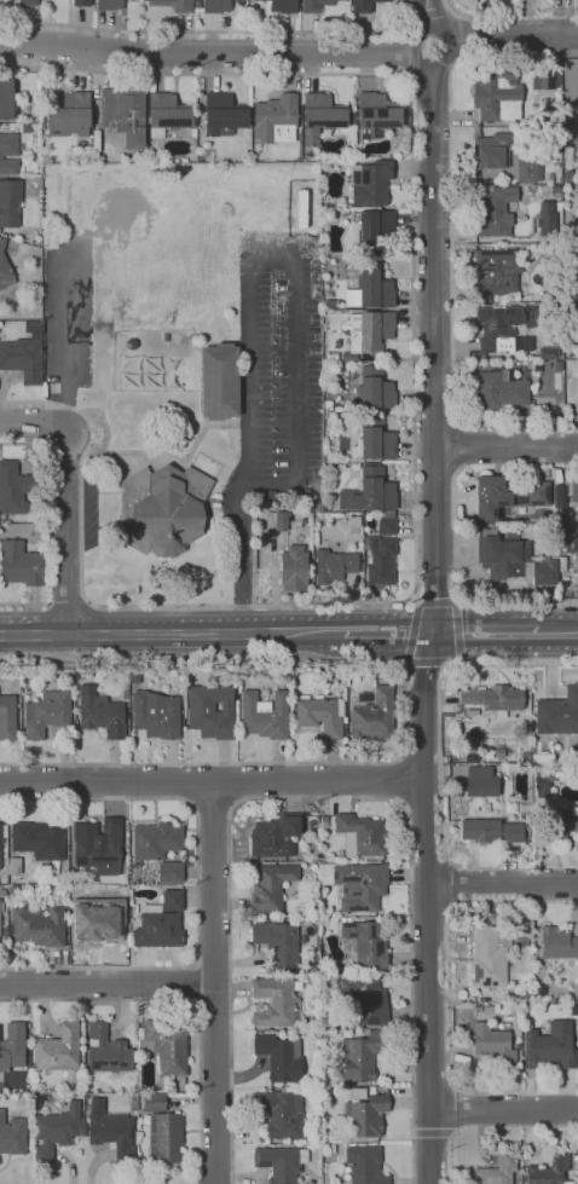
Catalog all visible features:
building: (28, 2)
building: (81, 2)
building: (109, 5)
building: (174, 5)
building: (197, 5)
building: (316, 5)
building: (216, 6)
building: (283, 6)
building: (363, 6)
road: (449, 11)
road: (430, 12)
road: (455, 12)
road: (412, 16)
road: (430, 16)
road: (464, 17)
road: (218, 31)
road: (438, 31)
road: (464, 35)
road: (511, 35)
road: (207, 52)
road: (464, 54)
building: (548, 77)
building: (498, 96)
building: (6, 98)
building: (168, 114)
building: (377, 114)
building: (70, 115)
building: (123, 115)
building: (224, 115)
building: (322, 117)
building: (276, 120)
building: (492, 151)
building: (8, 154)
building: (527, 172)
building: (568, 175)
building: (550, 178)
building: (370, 181)
building: (10, 203)
building: (495, 210)
building: (547, 216)
building: (372, 232)
road: (452, 235)
building: (5, 270)
building: (497, 275)
building: (548, 281)
road: (249, 288)
building: (370, 288)
building: (536, 306)
building: (577, 324)
building: (498, 329)
building: (369, 333)
road: (67, 335)
building: (566, 346)
building: (549, 353)
building: (24, 354)
building: (331, 356)
building: (220, 381)
building: (374, 388)
building: (499, 392)
building: (328, 405)
road: (35, 422)
road: (414, 435)
building: (375, 440)
road: (467, 447)
road: (507, 447)
building: (15, 489)
building: (574, 489)
building: (369, 491)
building: (507, 496)
road: (455, 506)
building: (318, 508)
building: (164, 509)
building: (571, 510)
building: (277, 521)
building: (386, 522)
road: (44, 525)
road: (65, 532)
building: (572, 544)
building: (380, 560)
building: (515, 561)
building: (576, 564)
building: (21, 565)
building: (334, 566)
building: (294, 570)
road: (416, 600)
road: (456, 601)
road: (67, 602)
road: (437, 603)
road: (492, 605)
road: (433, 624)
road: (412, 633)
road: (456, 633)
road: (485, 633)
road: (557, 633)
road: (387, 634)
road: (170, 635)
road: (426, 663)
road: (445, 664)
road: (406, 665)
building: (17, 671)
building: (67, 674)
building: (134, 676)
building: (261, 676)
building: (493, 699)
building: (212, 711)
road: (409, 711)
building: (46, 714)
building: (99, 714)
building: (559, 714)
building: (156, 715)
building: (265, 715)
building: (320, 716)
building: (374, 716)
building: (7, 717)
building: (472, 747)
building: (498, 752)
building: (526, 757)
building: (543, 758)
road: (440, 761)
road: (401, 779)
building: (480, 781)
building: (545, 781)
road: (212, 785)
road: (319, 798)
road: (213, 812)
building: (324, 820)
building: (555, 825)
building: (491, 831)
building: (1, 833)
building: (276, 834)
building: (360, 834)
building: (37, 841)
building: (156, 841)
building: (99, 845)
building: (0, 848)
building: (13, 866)
building: (170, 872)
road: (502, 882)
road: (198, 884)
building: (356, 884)
road: (451, 886)
building: (271, 888)
building: (12, 891)
building: (1, 893)
building: (173, 901)
building: (1, 907)
building: (96, 919)
building: (37, 926)
building: (157, 929)
building: (525, 938)
building: (278, 942)
building: (366, 942)
building: (557, 943)
building: (490, 955)
road: (213, 960)
building: (335, 978)
road: (192, 982)
road: (108, 983)
road: (216, 984)
building: (539, 989)
road: (450, 998)
building: (519, 998)
building: (368, 1000)
road: (189, 1001)
building: (274, 1001)
building: (574, 1010)
building: (495, 1044)
building: (166, 1045)
building: (12, 1046)
building: (549, 1046)
building: (58, 1050)
building: (108, 1051)
building: (360, 1056)
building: (281, 1058)
building: (1, 1087)
building: (283, 1088)
building: (359, 1093)
building: (150, 1103)
road: (504, 1110)
road: (452, 1111)
building: (281, 1113)
building: (366, 1114)
building: (111, 1131)
building: (56, 1132)
road: (433, 1133)
building: (12, 1136)
building: (164, 1138)
building: (331, 1148)
road: (453, 1161)
building: (281, 1162)
building: (576, 1162)
building: (365, 1165)
building: (497, 1169)
building: (549, 1169)

